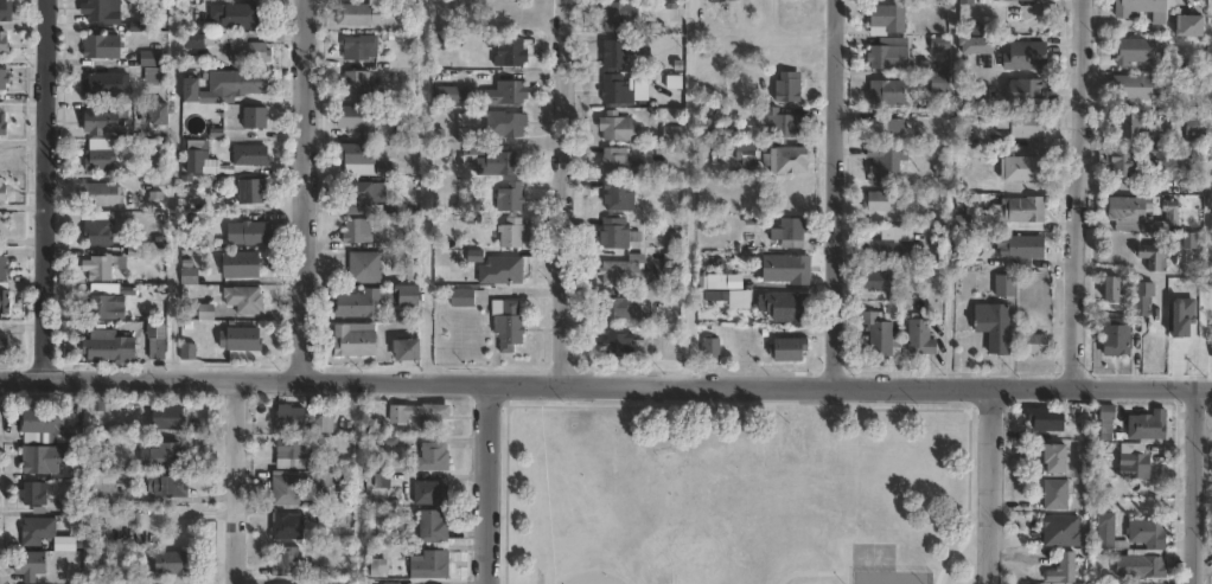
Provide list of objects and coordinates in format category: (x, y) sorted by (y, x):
building: (937, 0)
building: (1004, 0)
building: (720, 1)
building: (963, 2)
building: (1140, 7)
building: (7, 11)
building: (116, 13)
building: (356, 14)
building: (245, 15)
building: (1010, 15)
building: (623, 17)
building: (885, 18)
building: (1186, 27)
building: (197, 39)
building: (5, 43)
building: (106, 46)
building: (358, 46)
building: (972, 46)
building: (243, 47)
building: (1133, 51)
building: (511, 52)
building: (613, 53)
building: (886, 54)
building: (1022, 57)
building: (153, 59)
building: (158, 76)
building: (5, 79)
building: (353, 82)
building: (244, 83)
building: (936, 83)
building: (110, 84)
building: (786, 86)
building: (1129, 88)
building: (194, 90)
building: (510, 90)
building: (615, 90)
building: (1022, 92)
building: (884, 94)
building: (453, 95)
building: (971, 101)
building: (162, 114)
building: (257, 117)
building: (965, 118)
building: (353, 120)
building: (107, 121)
building: (777, 122)
building: (1193, 123)
building: (499, 124)
building: (463, 126)
building: (1019, 126)
building: (615, 127)
building: (879, 127)
building: (1127, 128)
building: (675, 135)
building: (472, 150)
building: (745, 153)
building: (355, 154)
building: (253, 155)
building: (961, 155)
building: (106, 156)
building: (202, 158)
building: (785, 159)
building: (1161, 159)
building: (615, 162)
building: (497, 163)
building: (882, 165)
building: (1122, 165)
building: (1019, 168)
road: (42, 191)
building: (254, 191)
road: (300, 191)
building: (4, 192)
road: (560, 192)
road: (829, 192)
road: (1073, 193)
building: (104, 194)
building: (614, 197)
building: (363, 198)
building: (508, 198)
building: (879, 203)
building: (1127, 207)
building: (970, 210)
building: (1020, 213)
building: (1169, 213)
building: (355, 230)
building: (100, 231)
building: (786, 232)
building: (251, 233)
building: (510, 233)
building: (614, 233)
building: (1188, 239)
building: (1016, 249)
building: (884, 250)
building: (1149, 255)
building: (675, 263)
building: (243, 264)
building: (108, 267)
building: (4, 268)
building: (362, 268)
building: (502, 268)
building: (785, 269)
building: (621, 271)
building: (191, 277)
building: (874, 282)
building: (1002, 285)
building: (1109, 287)
building: (1143, 288)
building: (107, 289)
building: (466, 295)
building: (245, 299)
building: (733, 299)
building: (5, 302)
building: (376, 302)
building: (1138, 304)
building: (617, 306)
building: (787, 307)
building: (109, 308)
building: (504, 322)
building: (990, 325)
building: (878, 333)
building: (1114, 336)
building: (243, 339)
building: (352, 340)
building: (918, 340)
building: (618, 342)
building: (1033, 342)
building: (111, 346)
building: (714, 347)
building: (5, 348)
building: (159, 348)
building: (785, 348)
building: (404, 349)
road: (605, 384)
road: (742, 405)
building: (421, 415)
building: (170, 418)
building: (1044, 418)
building: (305, 419)
building: (1105, 422)
building: (1144, 424)
building: (50, 428)
building: (293, 455)
building: (1051, 456)
building: (165, 457)
building: (434, 457)
building: (45, 458)
building: (1083, 458)
building: (1130, 460)
building: (323, 480)
road: (231, 482)
road: (487, 483)
road: (988, 484)
road: (1194, 484)
building: (170, 488)
building: (106, 490)
building: (287, 492)
park: (735, 492)
building: (36, 494)
building: (432, 494)
building: (1053, 494)
building: (326, 516)
building: (287, 527)
building: (434, 527)
building: (39, 531)
building: (1129, 532)
building: (1211, 552)
building: (103, 557)
park: (873, 557)
building: (287, 563)
building: (1138, 563)
building: (171, 564)
building: (33, 565)
building: (430, 566)
building: (377, 569)
building: (1060, 569)
park: (889, 577)
park: (585, 578)
building: (331, 582)
building: (1074, 583)

